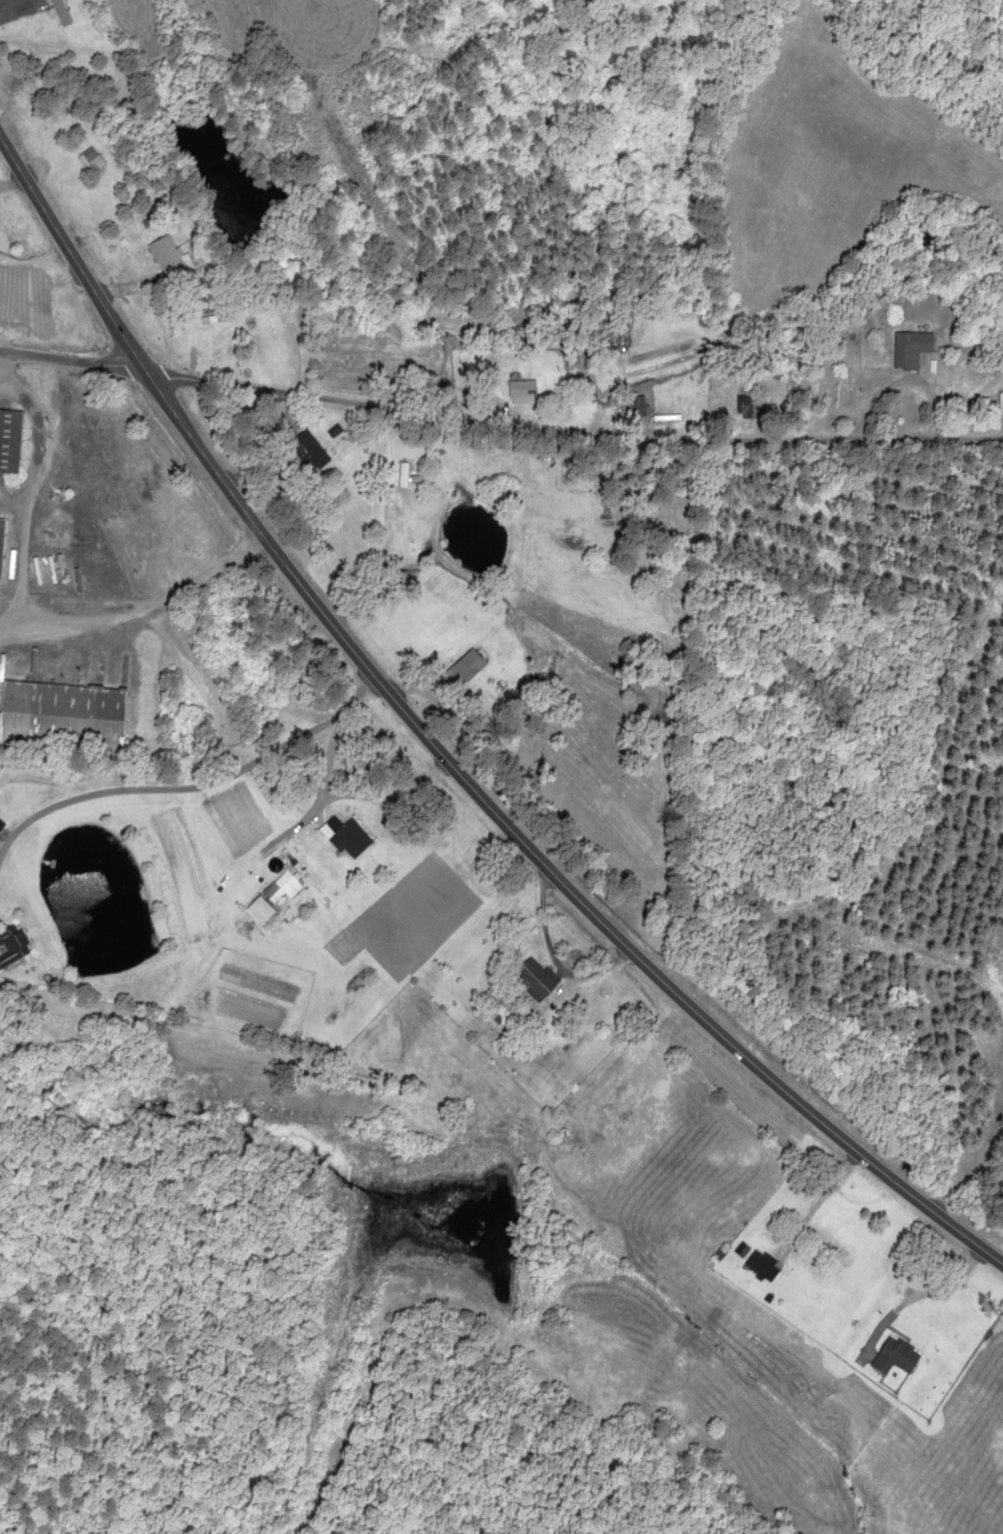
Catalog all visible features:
building: (56, 12)
building: (167, 257)
building: (217, 343)
building: (908, 348)
building: (519, 391)
building: (999, 402)
building: (749, 406)
road: (499, 411)
building: (8, 440)
building: (308, 450)
building: (0, 522)
building: (464, 667)
building: (60, 714)
road: (444, 746)
building: (348, 839)
building: (280, 887)
building: (261, 906)
building: (12, 944)
building: (533, 978)
building: (893, 1355)

